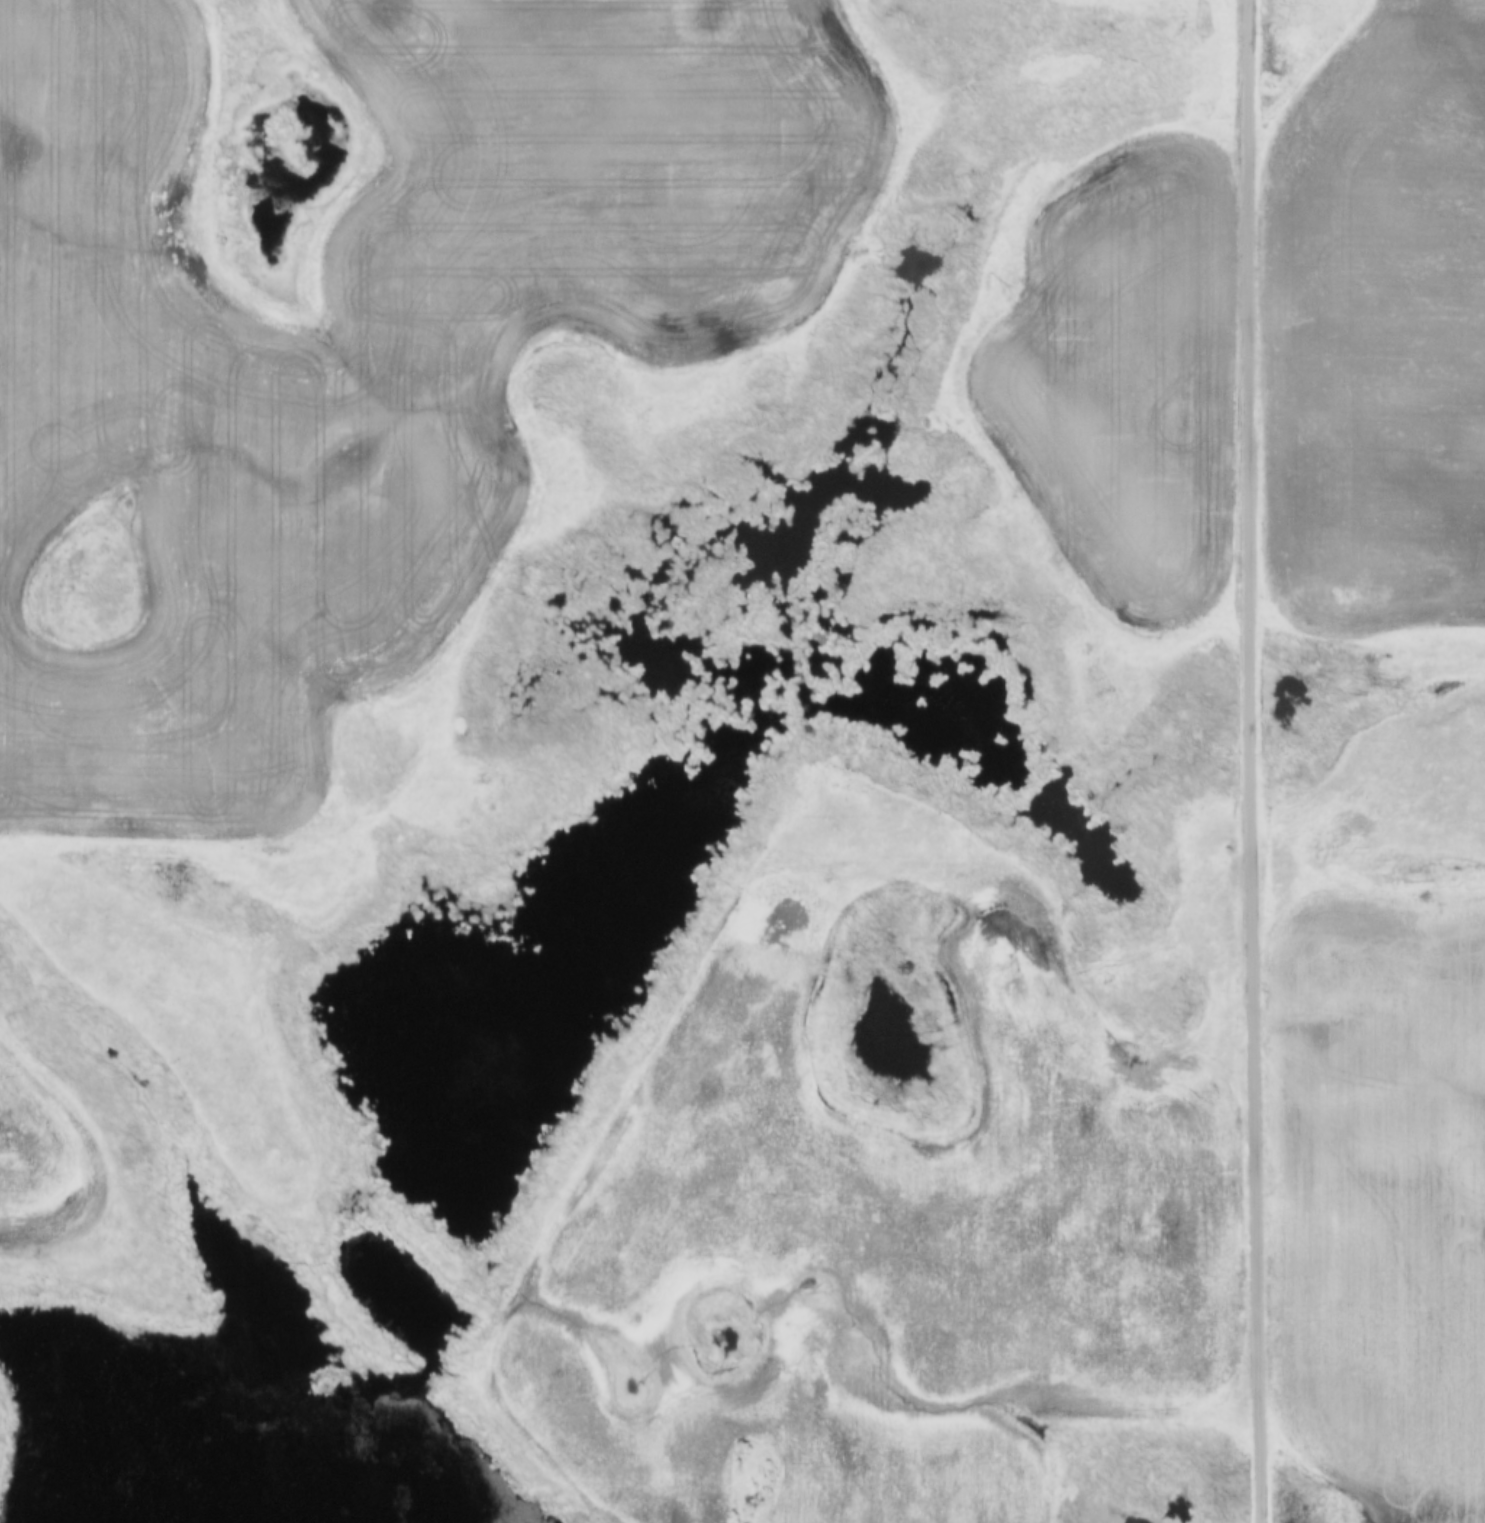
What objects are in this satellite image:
road: (1250, 761)

